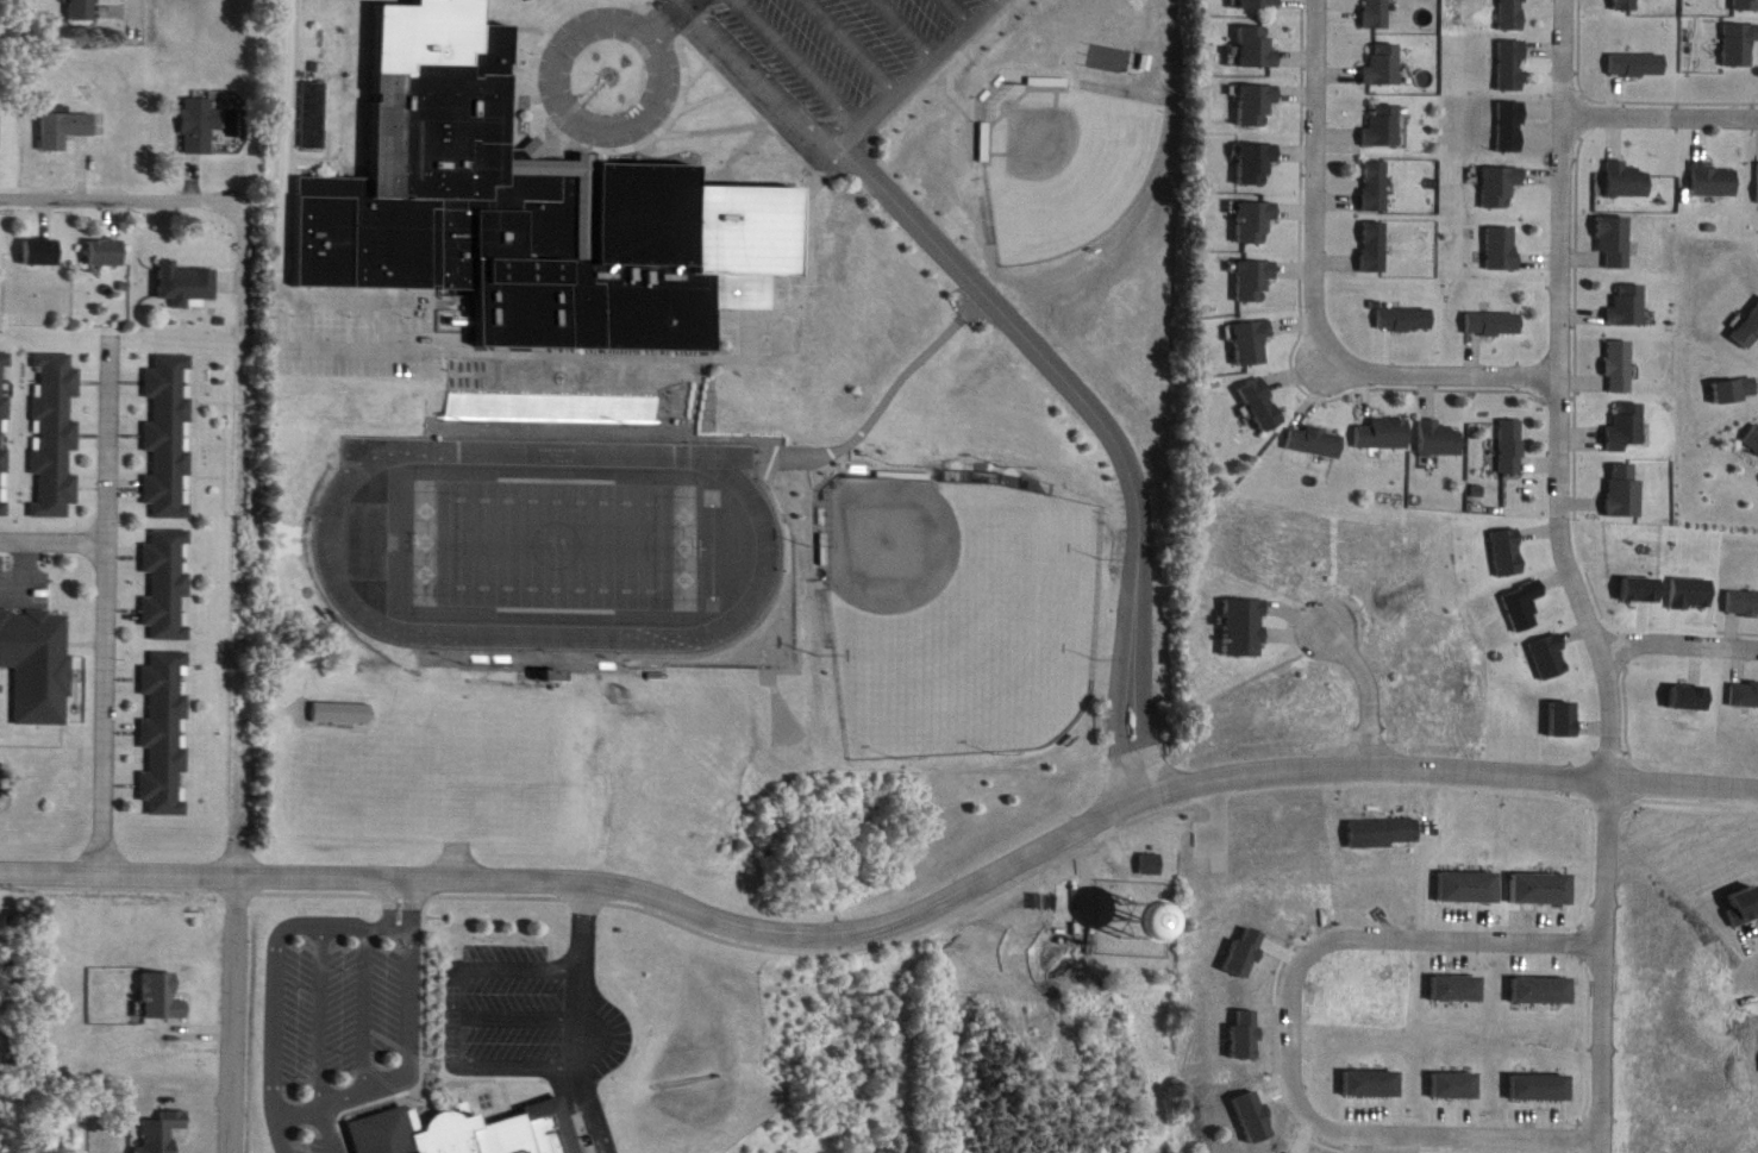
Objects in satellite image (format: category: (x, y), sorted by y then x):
building: (1258, 4)
road: (970, 5)
building: (1627, 5)
building: (1747, 5)
building: (85, 10)
road: (140, 10)
road: (669, 11)
building: (1375, 14)
building: (1514, 14)
road: (534, 15)
road: (913, 23)
road: (569, 33)
road: (863, 39)
parking lot: (842, 45)
building: (1743, 45)
building: (1256, 48)
road: (1568, 50)
road: (809, 56)
road: (703, 58)
flagpole: (617, 62)
building: (1382, 65)
building: (1514, 65)
building: (1640, 65)
road: (770, 68)
road: (912, 68)
road: (545, 80)
road: (713, 84)
building: (321, 99)
road: (1663, 101)
building: (1255, 105)
road: (720, 115)
building: (1382, 125)
building: (201, 126)
building: (1513, 127)
building: (65, 130)
building: (0, 131)
park: (1021, 131)
building: (1256, 164)
building: (1629, 180)
building: (1716, 180)
road: (125, 183)
building: (1374, 186)
building: (1502, 186)
building: (531, 195)
road: (267, 199)
building: (1253, 223)
road: (286, 234)
building: (1616, 242)
building: (1372, 246)
building: (1504, 247)
road: (814, 249)
road: (245, 251)
building: (42, 252)
building: (107, 252)
building: (1252, 281)
building: (187, 286)
road: (375, 293)
road: (1312, 295)
building: (1631, 306)
parking lot: (358, 317)
building: (1402, 317)
building: (1495, 324)
building: (1748, 331)
building: (1250, 344)
building: (1621, 366)
road: (887, 383)
building: (1262, 406)
road: (1100, 416)
building: (1628, 426)
building: (4, 432)
building: (1382, 433)
building: (52, 435)
building: (1752, 435)
building: (169, 437)
building: (1439, 438)
building: (1314, 441)
building: (1513, 446)
building: (1626, 490)
park: (561, 531)
road: (54, 544)
road: (19, 569)
building: (167, 585)
road: (106, 597)
building: (1744, 603)
park: (959, 607)
road: (1600, 624)
building: (1244, 628)
road: (1682, 628)
building: (37, 665)
building: (557, 677)
road: (1362, 683)
building: (1746, 695)
building: (344, 712)
building: (164, 733)
road: (1450, 758)
building: (1384, 833)
building: (1151, 864)
road: (592, 870)
building: (1471, 888)
road: (981, 889)
building: (1546, 889)
road: (1509, 910)
road: (273, 957)
road: (1757, 978)
building: (1460, 989)
building: (1546, 991)
road: (364, 992)
parking lot: (501, 994)
road: (564, 995)
building: (162, 998)
road: (320, 1001)
road: (237, 1008)
parking lot: (331, 1010)
road: (418, 1017)
parking lot: (599, 1020)
road: (1283, 1030)
road: (407, 1039)
road: (467, 1051)
flagpole: (432, 1072)
building: (1371, 1084)
building: (1456, 1086)
building: (1544, 1089)
road: (299, 1099)
building: (455, 1122)
building: (162, 1133)

